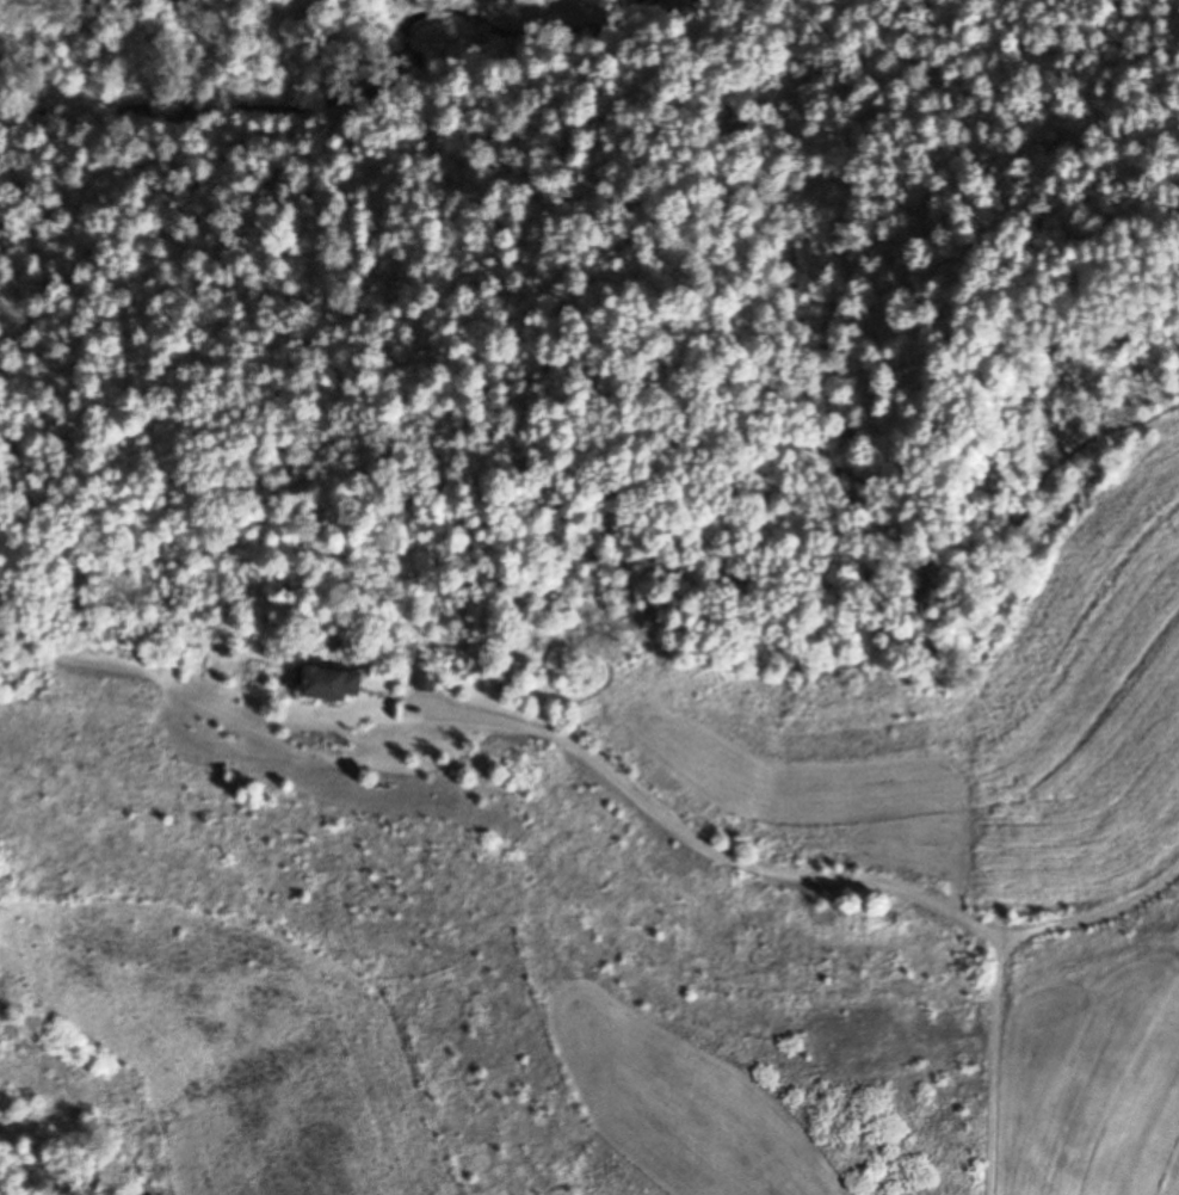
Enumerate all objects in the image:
building: (327, 683)
road: (693, 843)
road: (994, 963)

